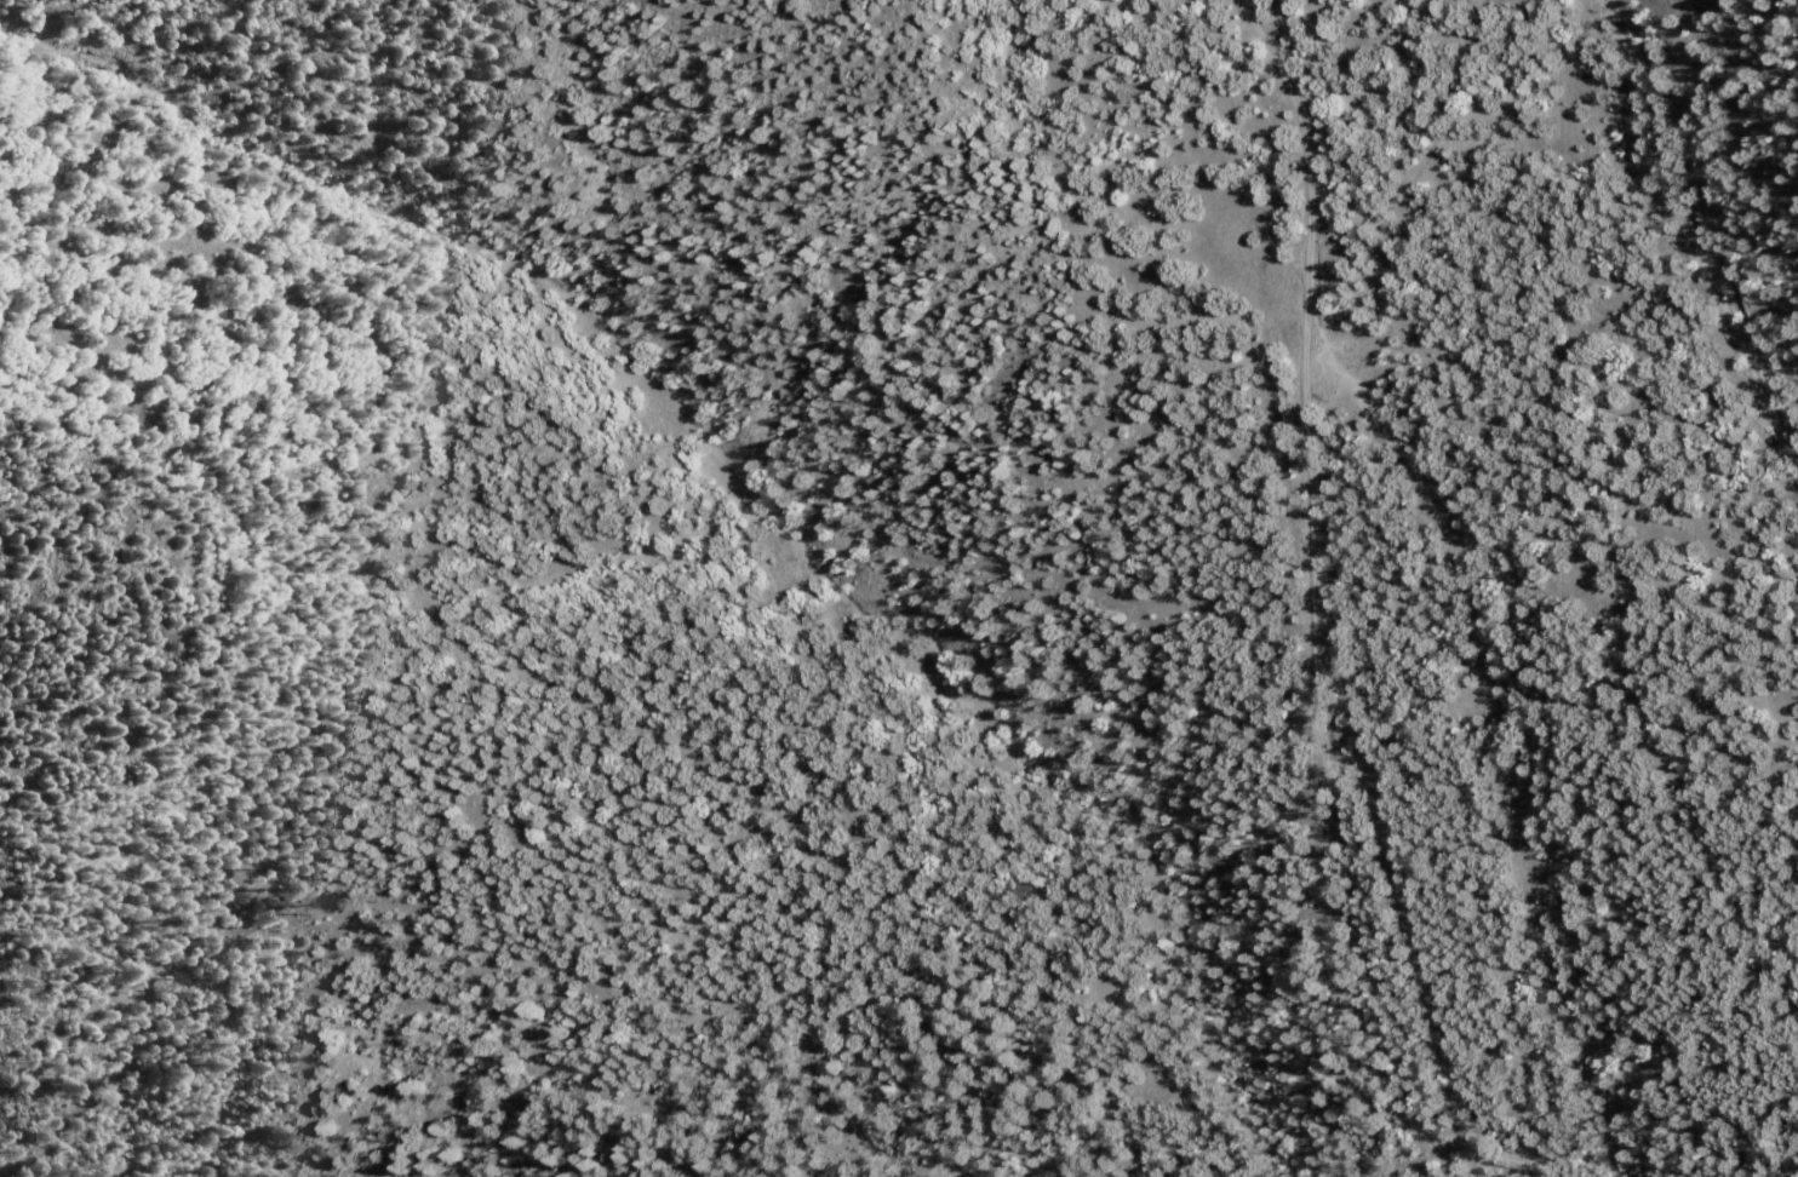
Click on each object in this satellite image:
road: (1289, 630)

